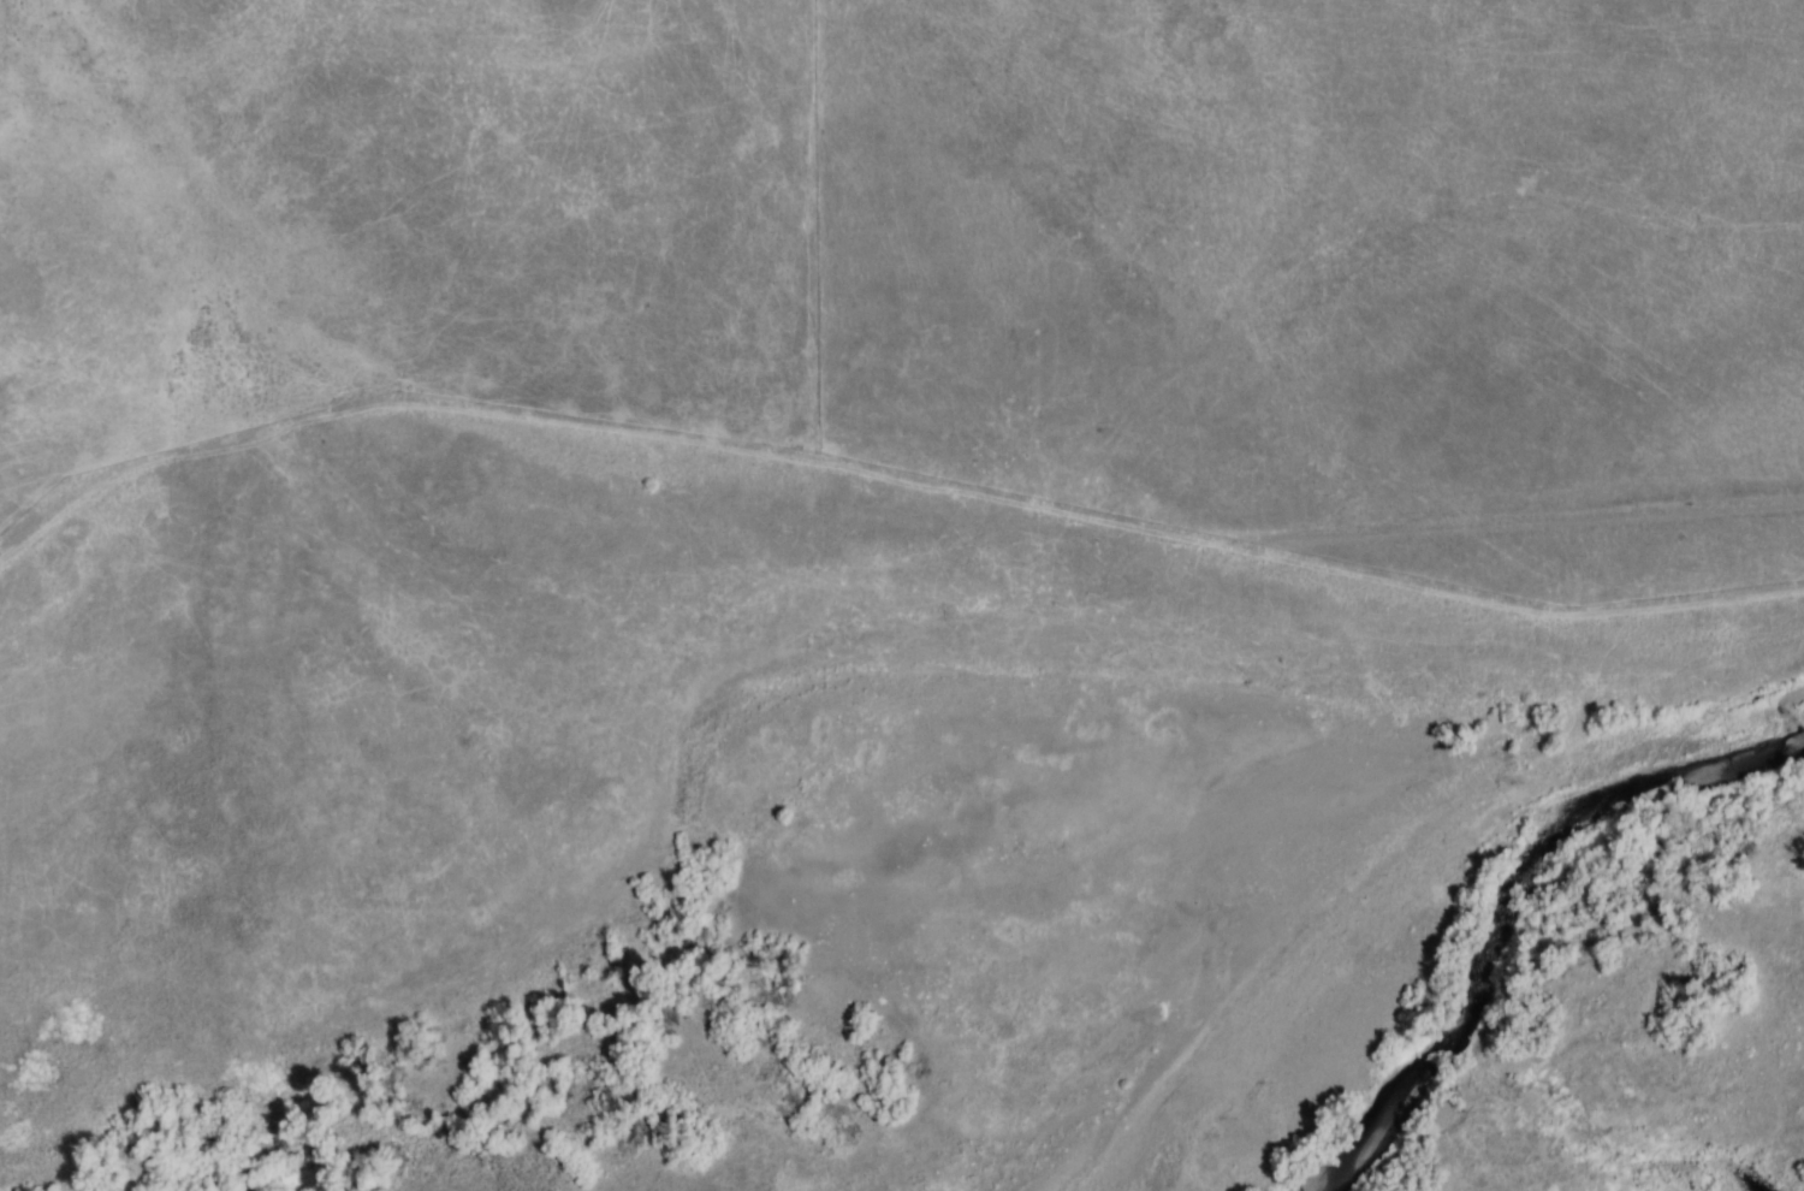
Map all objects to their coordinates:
river: (1483, 893)

